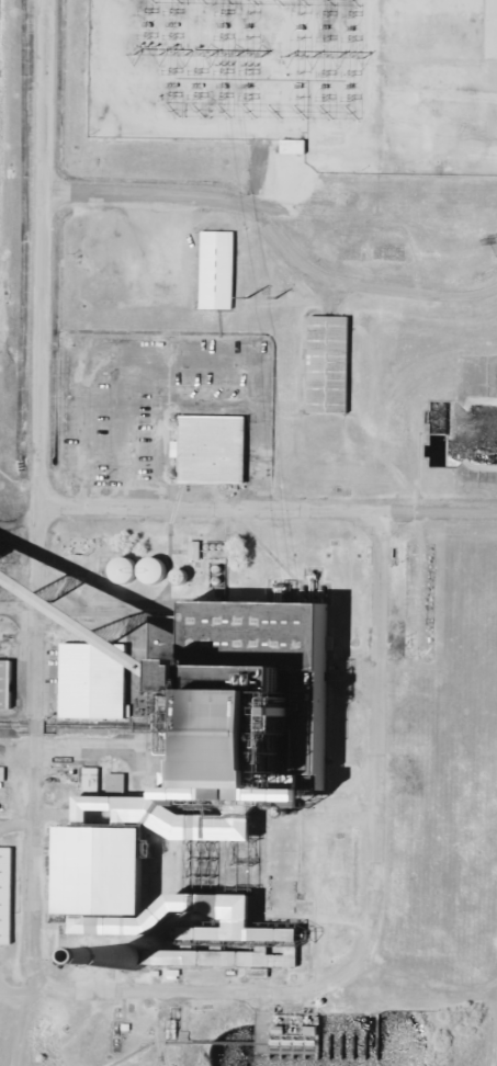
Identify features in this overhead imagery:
power substation: (303, 78)
building: (290, 147)
road: (273, 228)
building: (215, 271)
road: (36, 286)
building: (325, 365)
building: (208, 450)
road: (263, 513)
power plant: (245, 523)
building: (206, 549)
storage tank: (206, 549)
building: (214, 549)
storage tank: (214, 549)
building: (221, 549)
storage tank: (221, 549)
building: (194, 554)
building: (122, 571)
storage tank: (122, 571)
building: (150, 571)
storage tank: (150, 571)
building: (216, 571)
storage tank: (216, 571)
building: (177, 579)
storage tank: (177, 579)
building: (215, 582)
storage tank: (215, 582)
building: (93, 682)
building: (4, 685)
building: (94, 867)
building: (5, 895)
building: (231, 918)
building: (218, 957)
chimney: (128, 959)
road: (246, 989)

